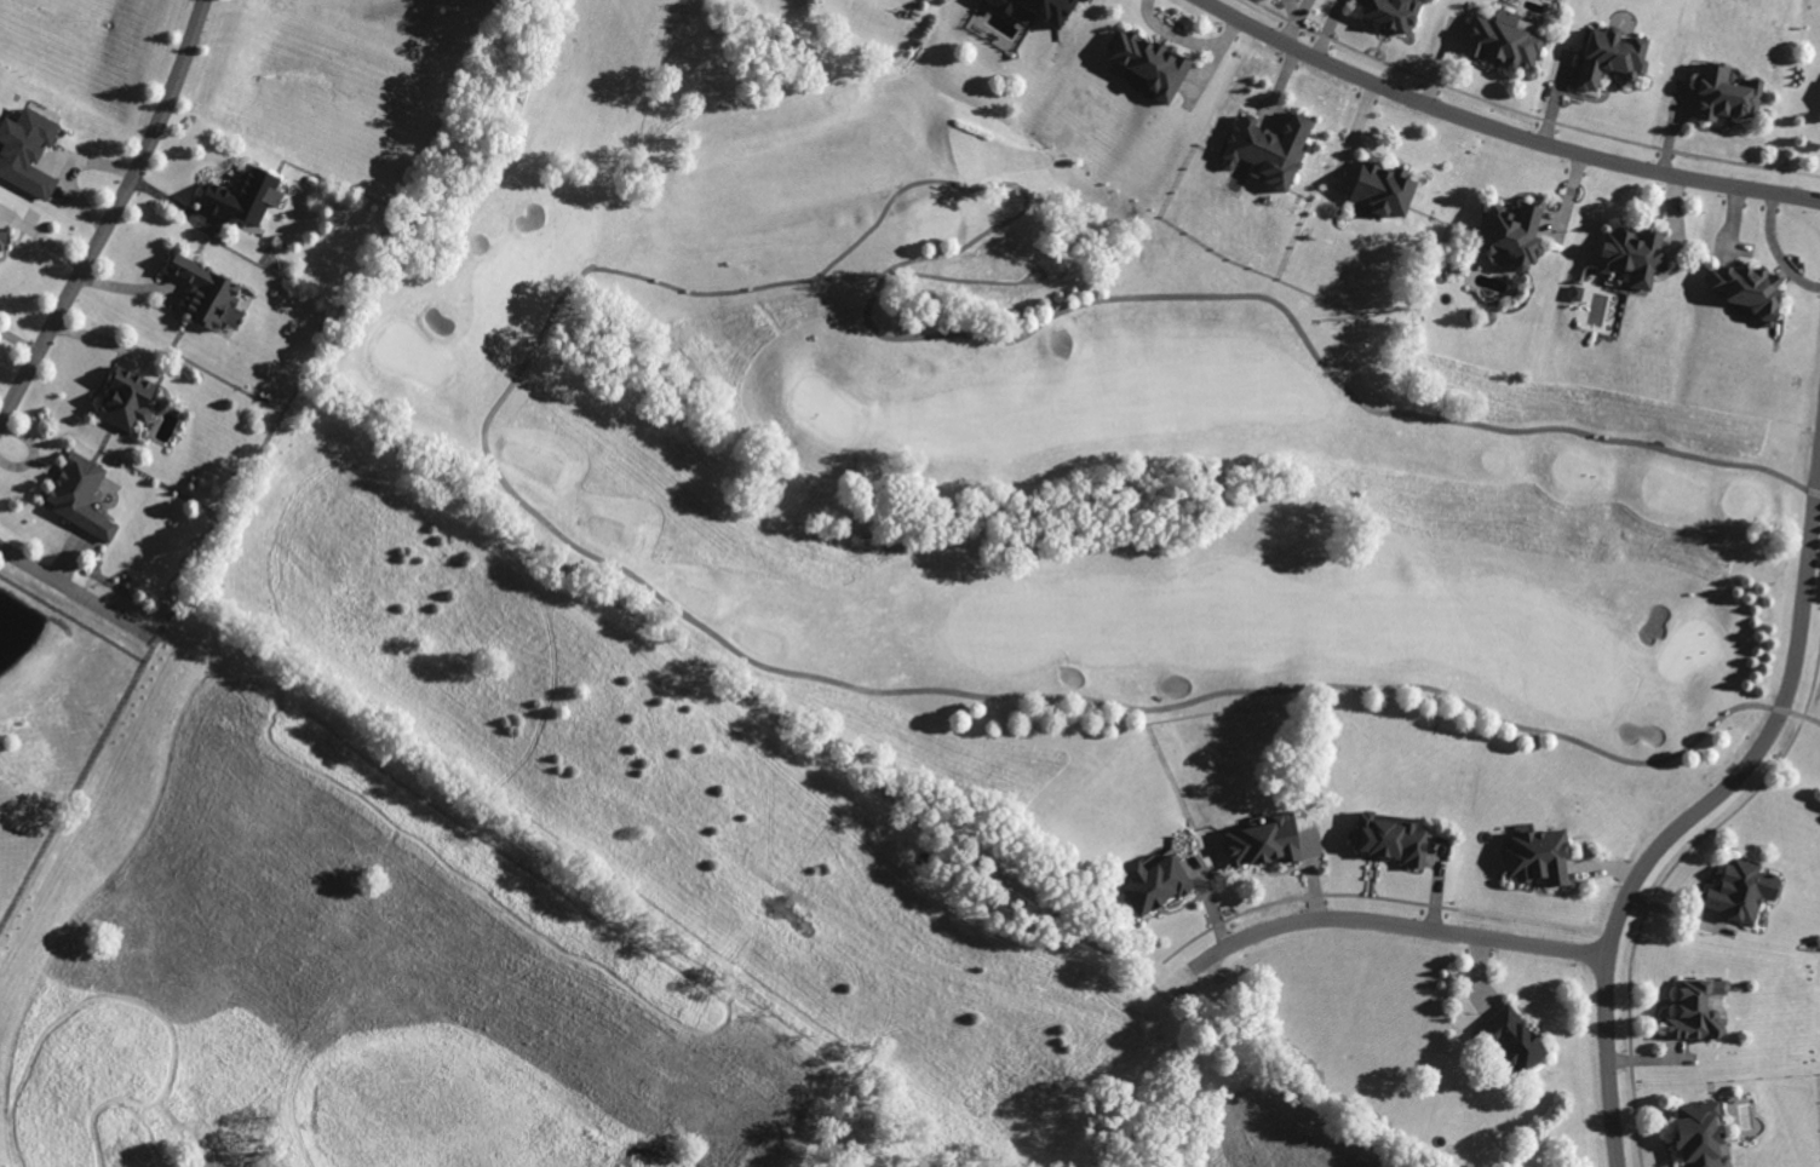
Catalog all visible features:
building: (1041, 11)
building: (1388, 12)
building: (1503, 39)
building: (1607, 56)
building: (1143, 62)
building: (1724, 93)
road: (1502, 128)
building: (1265, 148)
building: (31, 154)
building: (1378, 188)
building: (241, 196)
road: (111, 213)
building: (1508, 234)
building: (2, 240)
building: (1630, 254)
building: (1744, 287)
building: (214, 297)
building: (134, 402)
park: (1056, 455)
building: (86, 498)
road: (75, 591)
road: (1700, 807)
building: (1400, 838)
building: (1271, 843)
building: (1546, 855)
building: (1164, 885)
building: (1750, 891)
road: (1394, 922)
building: (1705, 1012)
building: (1522, 1039)
building: (1709, 1134)

